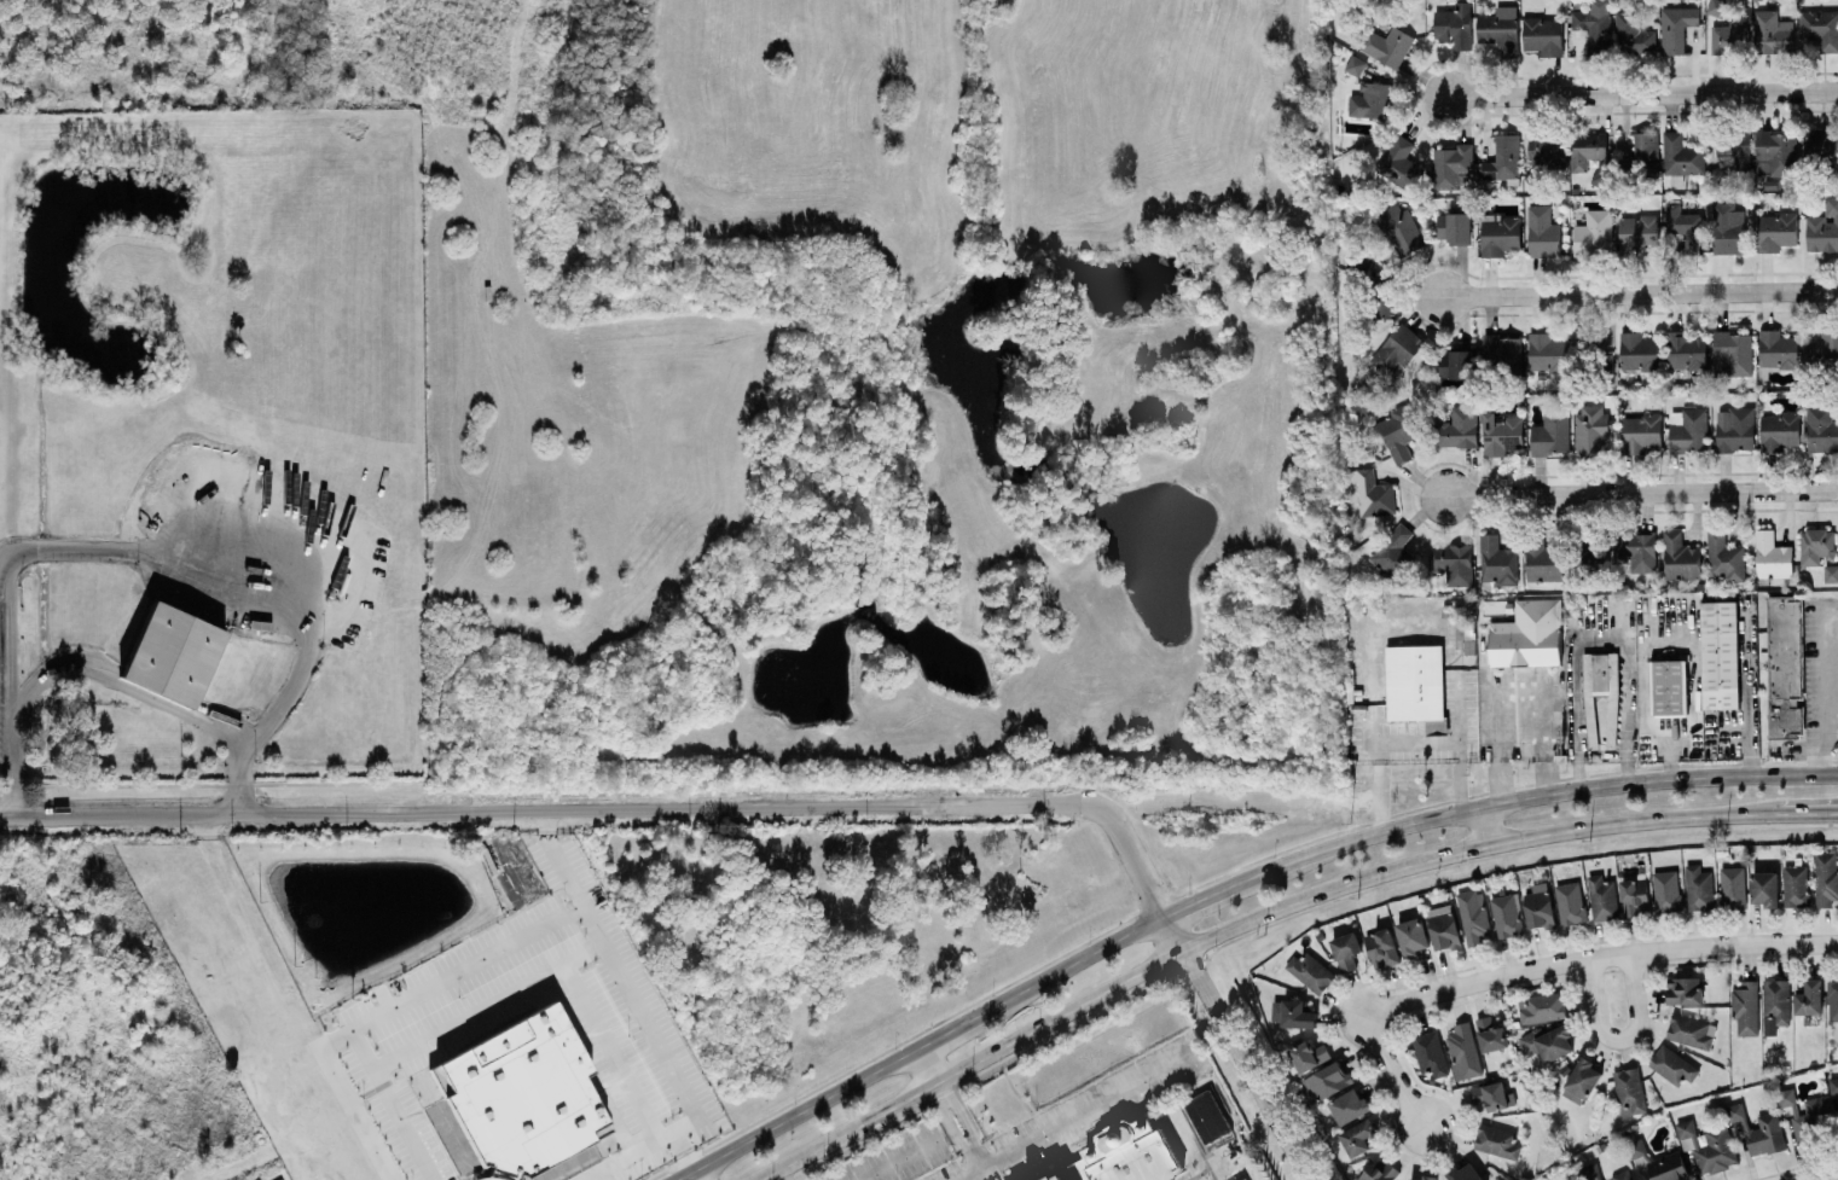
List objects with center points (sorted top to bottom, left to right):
building: (1716, 6)
building: (1454, 24)
building: (1594, 27)
building: (1675, 27)
building: (1820, 27)
building: (1498, 28)
building: (1772, 31)
building: (1542, 34)
building: (1631, 35)
building: (1729, 37)
building: (1385, 45)
building: (1355, 64)
road: (1642, 92)
building: (1369, 99)
building: (1645, 145)
building: (1585, 147)
building: (1822, 149)
building: (1547, 151)
building: (1775, 152)
building: (1680, 156)
building: (1729, 156)
building: (1503, 157)
building: (1399, 162)
building: (1450, 164)
building: (1604, 170)
building: (1685, 226)
building: (1823, 226)
building: (1454, 227)
building: (1401, 228)
building: (1726, 228)
building: (1542, 231)
building: (1775, 231)
building: (1593, 232)
building: (1500, 233)
building: (1639, 233)
road: (1642, 291)
building: (1823, 347)
building: (1778, 349)
building: (1396, 350)
building: (1686, 350)
building: (1501, 351)
building: (1547, 351)
building: (1639, 351)
building: (1732, 353)
building: (1456, 364)
building: (1459, 428)
building: (1590, 429)
building: (1735, 429)
building: (1821, 429)
building: (1689, 430)
building: (1779, 431)
building: (1501, 432)
building: (1550, 432)
building: (1640, 432)
building: (1398, 435)
road: (1642, 492)
building: (1374, 494)
building: (1816, 545)
road: (69, 551)
building: (1639, 551)
building: (1392, 552)
building: (1772, 556)
building: (1598, 557)
building: (1680, 557)
building: (1724, 558)
building: (1497, 560)
building: (1454, 563)
building: (1543, 563)
building: (1831, 572)
building: (1527, 635)
building: (1720, 653)
building: (180, 655)
building: (1785, 665)
road: (1827, 669)
building: (1415, 681)
road: (122, 682)
building: (1669, 686)
road: (1513, 690)
road: (1457, 707)
building: (1613, 721)
road: (249, 733)
road: (1411, 739)
road: (1821, 746)
road: (609, 810)
road: (1814, 813)
road: (1488, 825)
road: (556, 859)
building: (1826, 878)
road: (1225, 884)
building: (1796, 884)
building: (1733, 887)
building: (1699, 888)
building: (1765, 888)
building: (1666, 890)
building: (1602, 897)
building: (1636, 897)
building: (1570, 902)
building: (1540, 906)
building: (1507, 914)
building: (1474, 915)
road: (1248, 920)
building: (1444, 926)
building: (1411, 936)
building: (1381, 947)
building: (1345, 948)
road: (607, 951)
road: (1599, 958)
building: (1310, 970)
building: (1683, 989)
building: (1809, 998)
building: (1832, 999)
building: (1775, 1004)
building: (1541, 1006)
building: (1745, 1007)
building: (1297, 1012)
building: (1691, 1030)
building: (1491, 1034)
road: (1622, 1037)
building: (1547, 1041)
road: (1236, 1046)
building: (1463, 1051)
building: (1430, 1052)
building: (1309, 1054)
building: (1672, 1065)
road: (923, 1068)
road: (1395, 1070)
building: (1328, 1079)
building: (1581, 1080)
building: (1833, 1085)
building: (1629, 1091)
road: (938, 1094)
building: (521, 1095)
building: (1491, 1097)
road: (346, 1099)
road: (390, 1103)
building: (1349, 1104)
building: (1734, 1111)
road: (1079, 1114)
building: (1807, 1115)
building: (1207, 1118)
building: (1686, 1128)
building: (1765, 1134)
building: (1357, 1137)
road: (968, 1139)
building: (1496, 1140)
building: (1634, 1146)
road: (680, 1150)
building: (1715, 1151)
road: (975, 1153)
building: (1125, 1155)
road: (900, 1157)
building: (1669, 1167)
building: (1379, 1169)
building: (1463, 1173)
road: (783, 1174)
road: (694, 1175)
building: (1622, 1175)
building: (1426, 1178)
building: (1028, 1179)
road: (1834, 1179)

